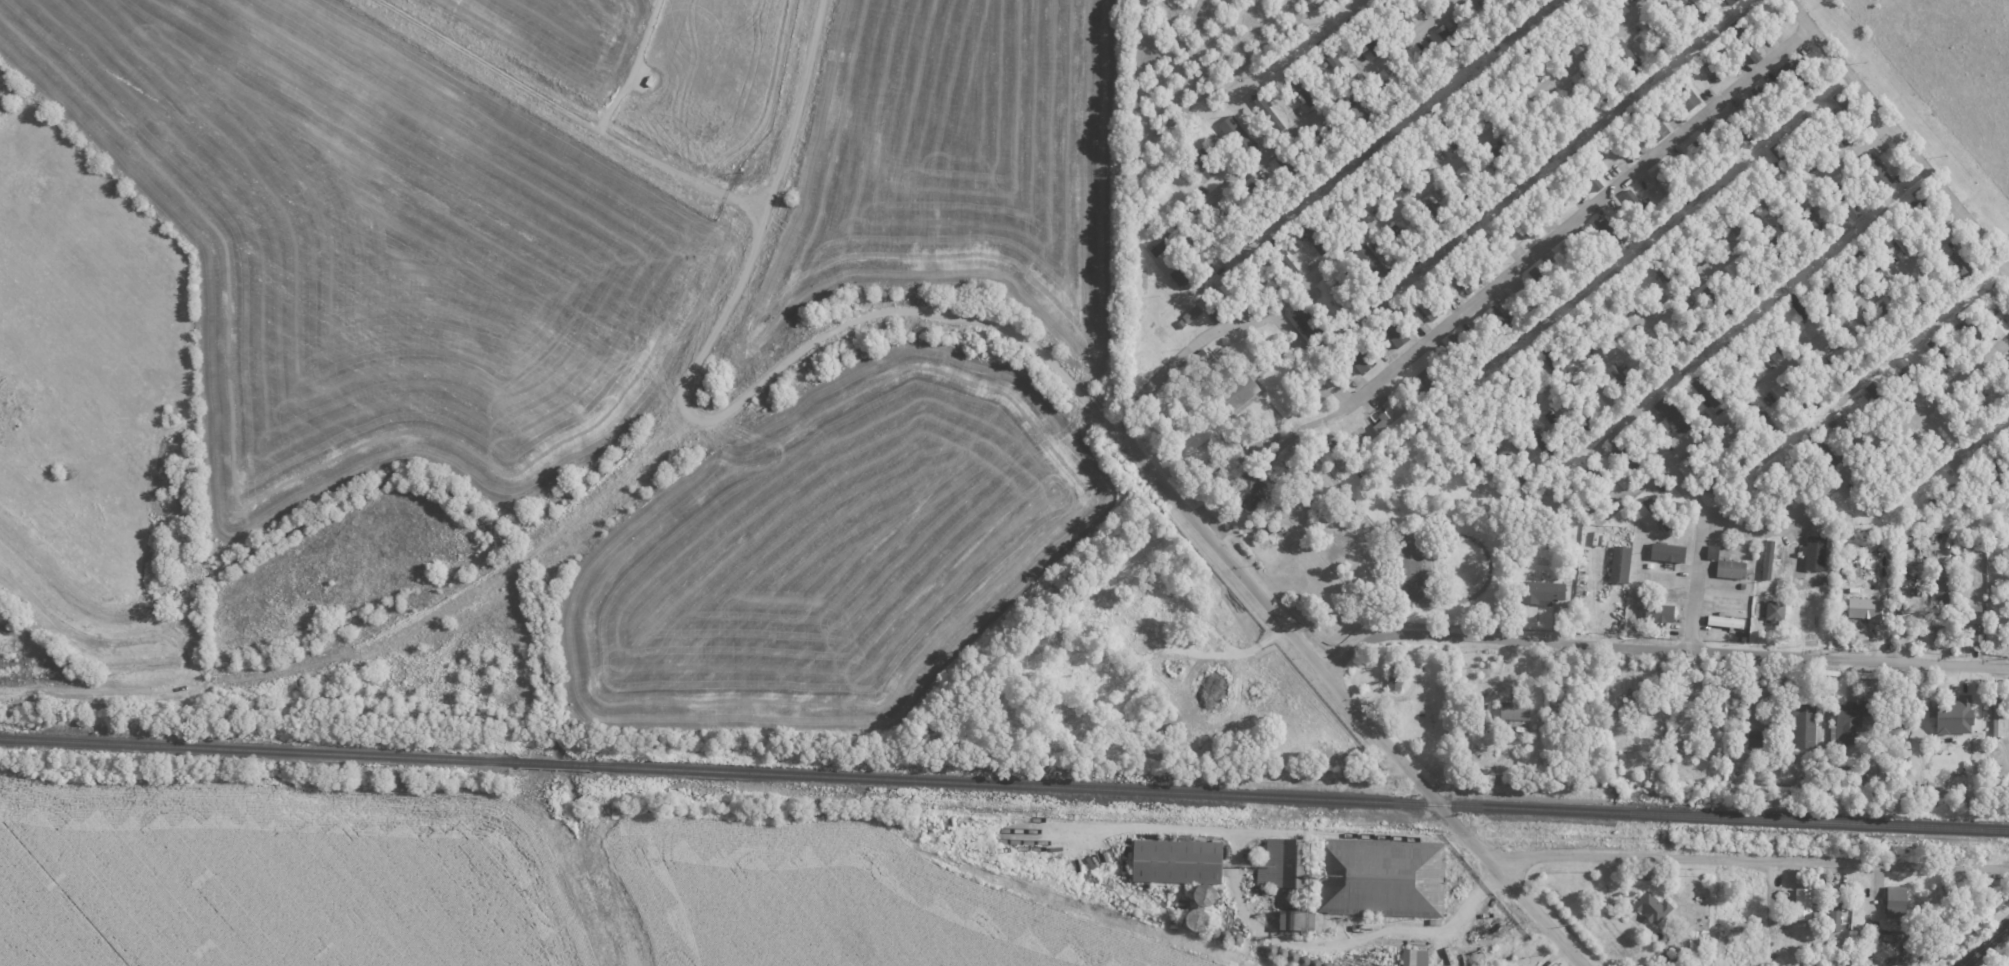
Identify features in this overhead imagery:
building: (1435, 0)
building: (1733, 1)
building: (1606, 4)
building: (1400, 12)
building: (1696, 13)
building: (1485, 19)
building: (1571, 25)
building: (1660, 36)
building: (1369, 40)
building: (1454, 43)
building: (1538, 51)
building: (1627, 58)
building: (1334, 59)
road: (1385, 60)
building: (1419, 68)
building: (1711, 68)
building: (1507, 76)
building: (1798, 77)
building: (1301, 85)
building: (1595, 87)
building: (1387, 94)
building: (1686, 95)
road: (550, 101)
building: (1476, 102)
building: (1765, 102)
road: (796, 107)
building: (1849, 110)
building: (1565, 115)
building: (1360, 118)
building: (1652, 122)
building: (1736, 130)
building: (1447, 132)
road: (1898, 134)
building: (1818, 136)
building: (1240, 137)
building: (1533, 142)
building: (1618, 145)
building: (1326, 149)
road: (1662, 152)
building: (1410, 154)
building: (1703, 158)
building: (1495, 160)
building: (1205, 162)
building: (1786, 162)
road: (1253, 168)
building: (1586, 170)
building: (1877, 172)
building: (1293, 173)
building: (1668, 179)
building: (1380, 182)
building: (1467, 189)
building: (1756, 189)
building: (1552, 197)
building: (1262, 200)
building: (1847, 200)
road: (744, 204)
building: (1347, 206)
building: (1638, 206)
building: (1928, 207)
building: (1727, 215)
building: (1437, 220)
road: (1383, 221)
building: (1519, 222)
airport: (427, 225)
building: (1814, 225)
building: (1231, 227)
building: (1608, 234)
building: (1897, 234)
building: (1317, 235)
building: (1172, 238)
building: (1691, 241)
building: (1406, 243)
building: (1492, 251)
building: (1783, 251)
building: (1284, 258)
building: (1575, 259)
building: (1866, 261)
road: (1234, 262)
building: (1372, 264)
building: (1957, 268)
building: (1663, 269)
building: (1188, 270)
building: (1458, 275)
building: (1748, 277)
building: (1544, 283)
building: (1835, 285)
road: (1690, 286)
building: (1924, 295)
building: (1233, 297)
building: (1341, 297)
building: (1637, 300)
building: (1428, 304)
building: (1719, 304)
building: (1798, 305)
building: (1999, 309)
road: (936, 313)
building: (1193, 313)
building: (1216, 314)
building: (1893, 320)
building: (1309, 321)
building: (1498, 321)
building: (1604, 325)
building: (1971, 328)
building: (1395, 329)
road: (713, 330)
building: (1689, 330)
building: (1770, 335)
building: (1862, 346)
building: (1465, 349)
building: (1939, 352)
building: (1655, 355)
building: (1362, 358)
building: (1553, 358)
building: (1739, 360)
road: (1783, 370)
building: (1832, 373)
road: (1384, 375)
building: (1913, 377)
building: (2008, 377)
building: (1517, 379)
building: (1624, 379)
building: (1431, 381)
building: (1710, 389)
building: (1237, 394)
road: (1612, 396)
building: (1799, 396)
building: (1880, 401)
building: (1979, 401)
building: (1491, 412)
building: (1674, 415)
building: (1394, 419)
building: (1578, 422)
building: (1765, 422)
building: (1950, 423)
road: (1310, 426)
building: (1848, 427)
building: (1233, 443)
building: (1544, 445)
building: (1733, 449)
building: (1823, 452)
building: (1626, 453)
building: (1995, 456)
road: (1867, 458)
building: (1291, 463)
building: (1908, 464)
road: (1963, 467)
building: (1513, 471)
building: (1703, 475)
building: (1600, 479)
building: (1624, 480)
building: (1787, 480)
building: (1255, 488)
building: (1876, 491)
building: (1944, 495)
building: (1658, 513)
building: (1716, 551)
building: (1670, 552)
building: (1817, 552)
building: (1770, 558)
building: (1623, 563)
building: (1734, 568)
road: (1699, 584)
building: (1547, 590)
building: (1943, 592)
building: (1870, 608)
building: (1778, 611)
building: (1663, 612)
building: (1728, 620)
building: (1975, 626)
building: (1943, 627)
road: (1662, 646)
building: (1397, 673)
road: (72, 686)
building: (1649, 699)
road: (1357, 705)
building: (1516, 710)
building: (1955, 713)
building: (1151, 715)
building: (1999, 719)
building: (1852, 720)
building: (1806, 725)
building: (1762, 739)
railway: (260, 750)
railway: (554, 763)
railway: (1298, 796)
railway: (1173, 818)
road: (1756, 860)
building: (1287, 863)
building: (1185, 865)
building: (1396, 891)
building: (1996, 897)
building: (1837, 901)
building: (1899, 901)
building: (1805, 903)
building: (1653, 907)
building: (1205, 919)
building: (1296, 919)
road: (1985, 946)
building: (1415, 957)
building: (1667, 957)

